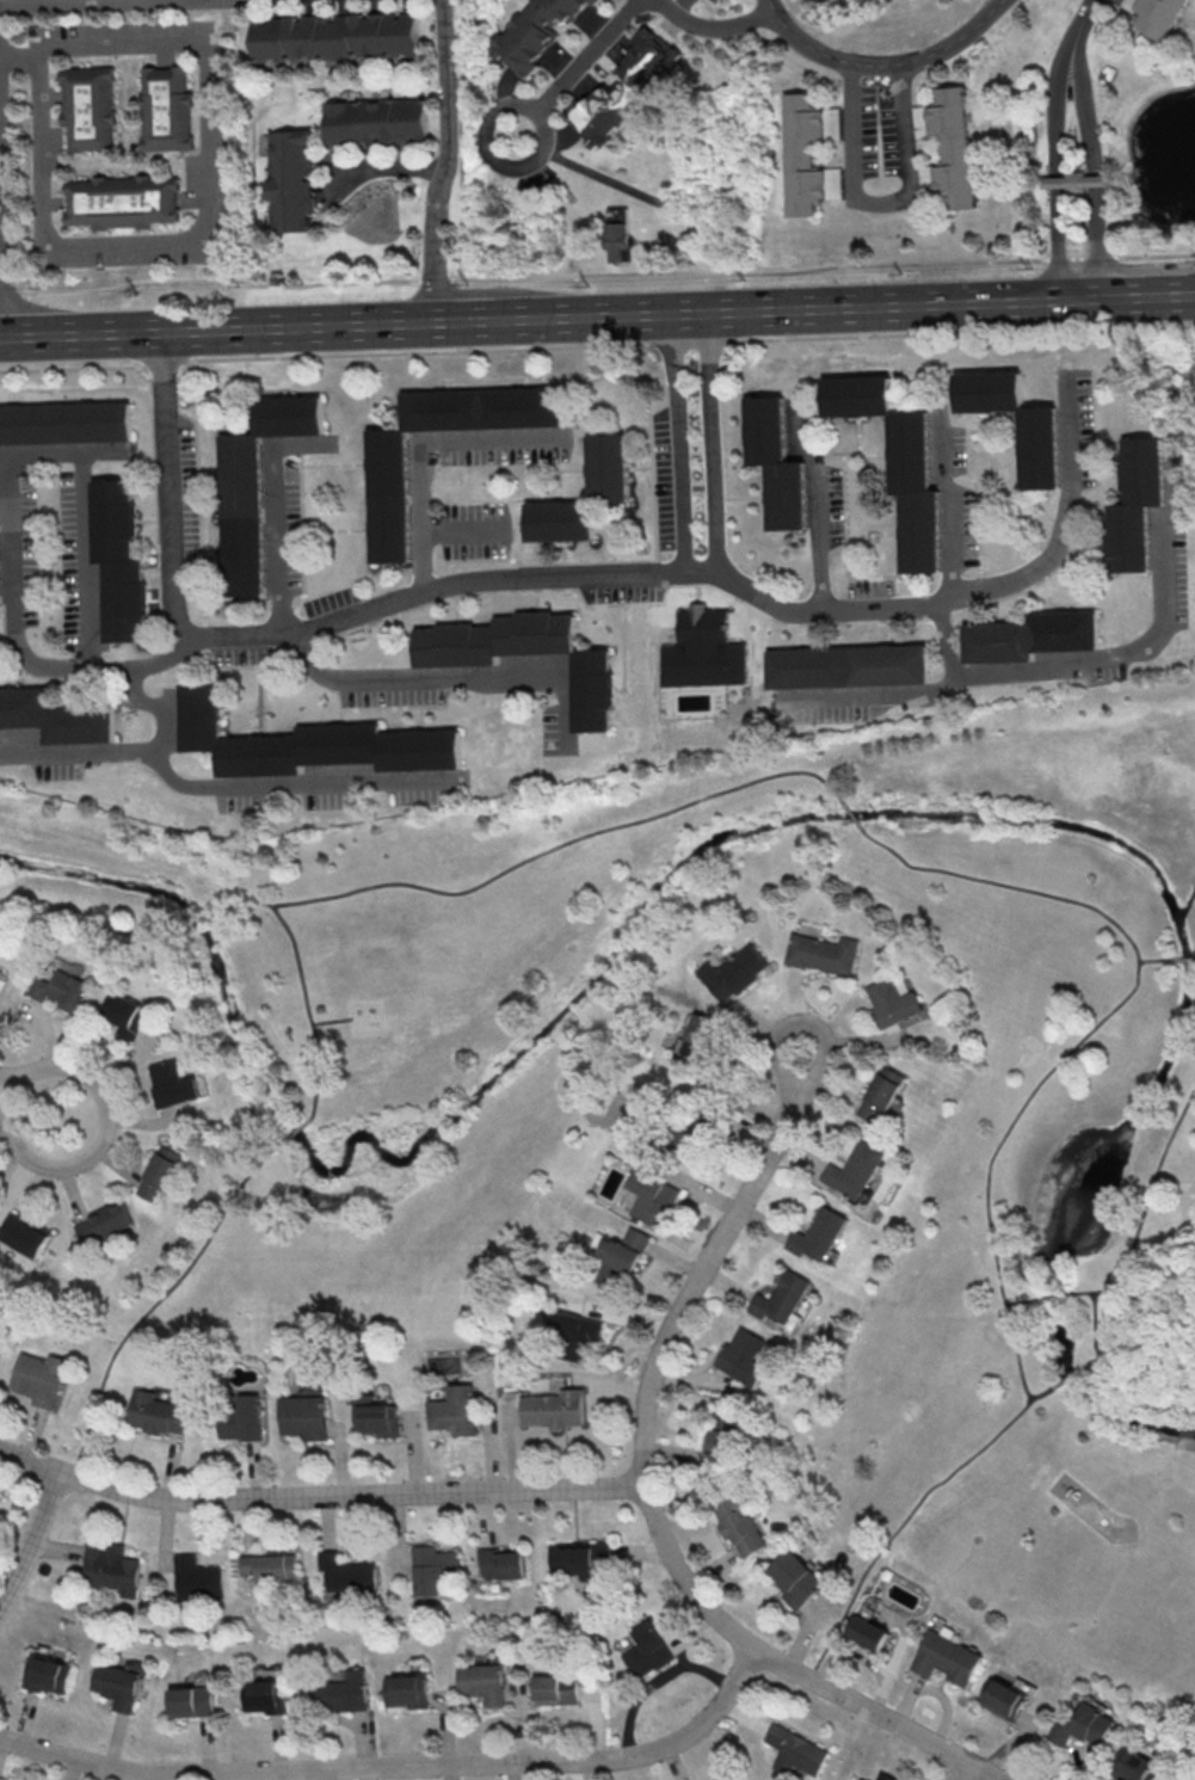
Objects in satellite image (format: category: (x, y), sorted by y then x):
road: (227, 1)
road: (144, 4)
road: (1082, 13)
building: (1158, 16)
road: (713, 29)
building: (534, 33)
building: (334, 36)
road: (16, 51)
road: (585, 56)
road: (880, 63)
building: (626, 88)
road: (1055, 103)
road: (1084, 105)
building: (92, 112)
building: (170, 115)
building: (375, 119)
building: (954, 146)
road: (488, 150)
building: (803, 155)
road: (451, 160)
road: (389, 167)
building: (926, 178)
building: (290, 179)
building: (1076, 180)
building: (834, 183)
road: (879, 203)
building: (127, 207)
road: (2, 234)
road: (1099, 239)
building: (618, 240)
road: (1058, 240)
road: (208, 246)
road: (595, 273)
road: (1148, 295)
road: (805, 310)
road: (473, 320)
road: (218, 329)
road: (597, 345)
building: (63, 424)
road: (1071, 435)
road: (676, 443)
road: (709, 443)
road: (415, 444)
road: (43, 450)
building: (1039, 451)
building: (772, 464)
building: (894, 466)
building: (604, 467)
building: (252, 486)
building: (383, 498)
building: (1135, 505)
road: (945, 516)
road: (460, 532)
road: (273, 540)
road: (817, 540)
building: (117, 560)
road: (1164, 573)
road: (506, 578)
building: (0, 598)
building: (1031, 636)
building: (703, 649)
road: (307, 663)
road: (144, 665)
building: (848, 665)
road: (60, 667)
road: (1029, 669)
road: (483, 677)
road: (945, 685)
building: (593, 691)
road: (860, 698)
building: (55, 719)
road: (158, 745)
building: (306, 745)
road: (79, 750)
road: (333, 784)
road: (851, 815)
road: (531, 858)
road: (198, 920)
road: (93, 930)
building: (824, 953)
road: (1183, 960)
road: (1154, 962)
building: (735, 972)
building: (62, 990)
building: (893, 1002)
road: (309, 1008)
building: (321, 1008)
building: (127, 1014)
road: (333, 1022)
road: (796, 1022)
road: (1089, 1031)
building: (701, 1036)
road: (73, 1070)
building: (174, 1083)
building: (879, 1095)
road: (294, 1135)
road: (47, 1165)
building: (161, 1171)
building: (850, 1171)
park: (399, 1196)
building: (654, 1196)
road: (1147, 1207)
building: (106, 1221)
building: (24, 1234)
building: (814, 1237)
building: (623, 1258)
road: (1049, 1298)
building: (777, 1301)
road: (1014, 1302)
road: (158, 1306)
building: (577, 1335)
building: (0, 1349)
building: (741, 1356)
road: (1096, 1361)
road: (1120, 1367)
road: (1071, 1376)
building: (41, 1379)
building: (553, 1412)
building: (160, 1413)
building: (306, 1416)
building: (455, 1417)
building: (381, 1418)
building: (242, 1427)
building: (722, 1442)
road: (318, 1496)
road: (649, 1508)
building: (1055, 1509)
road: (911, 1516)
building: (741, 1523)
road: (31, 1534)
building: (568, 1559)
building: (499, 1563)
building: (433, 1565)
building: (270, 1566)
building: (110, 1567)
building: (343, 1573)
building: (797, 1577)
building: (198, 1583)
building: (869, 1632)
building: (643, 1650)
building: (948, 1658)
building: (45, 1674)
building: (478, 1681)
building: (116, 1686)
building: (404, 1689)
building: (552, 1689)
building: (341, 1695)
building: (265, 1696)
building: (1004, 1699)
building: (189, 1701)
building: (1084, 1726)
building: (790, 1750)
building: (1137, 1764)
road: (394, 1767)
road: (962, 1770)
building: (887, 1778)
building: (732, 1779)

